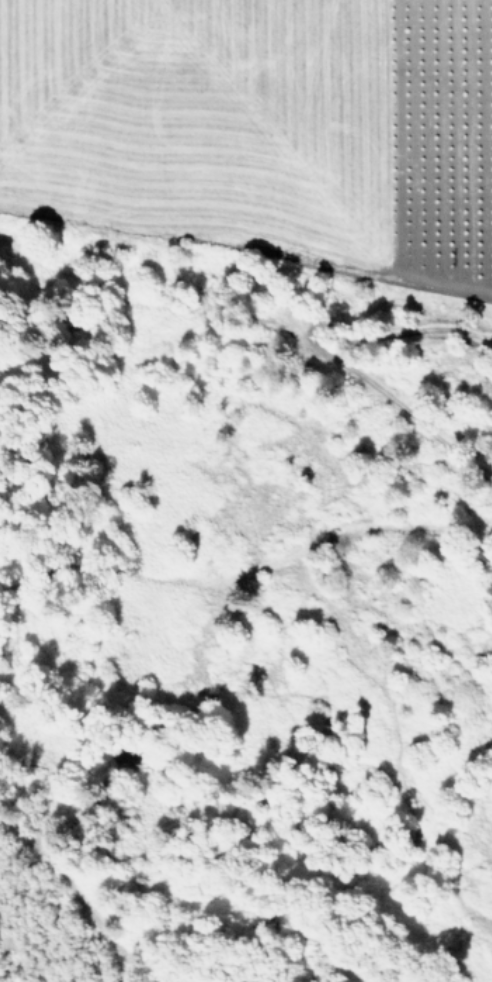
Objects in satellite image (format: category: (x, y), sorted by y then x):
crop: (254, 120)

